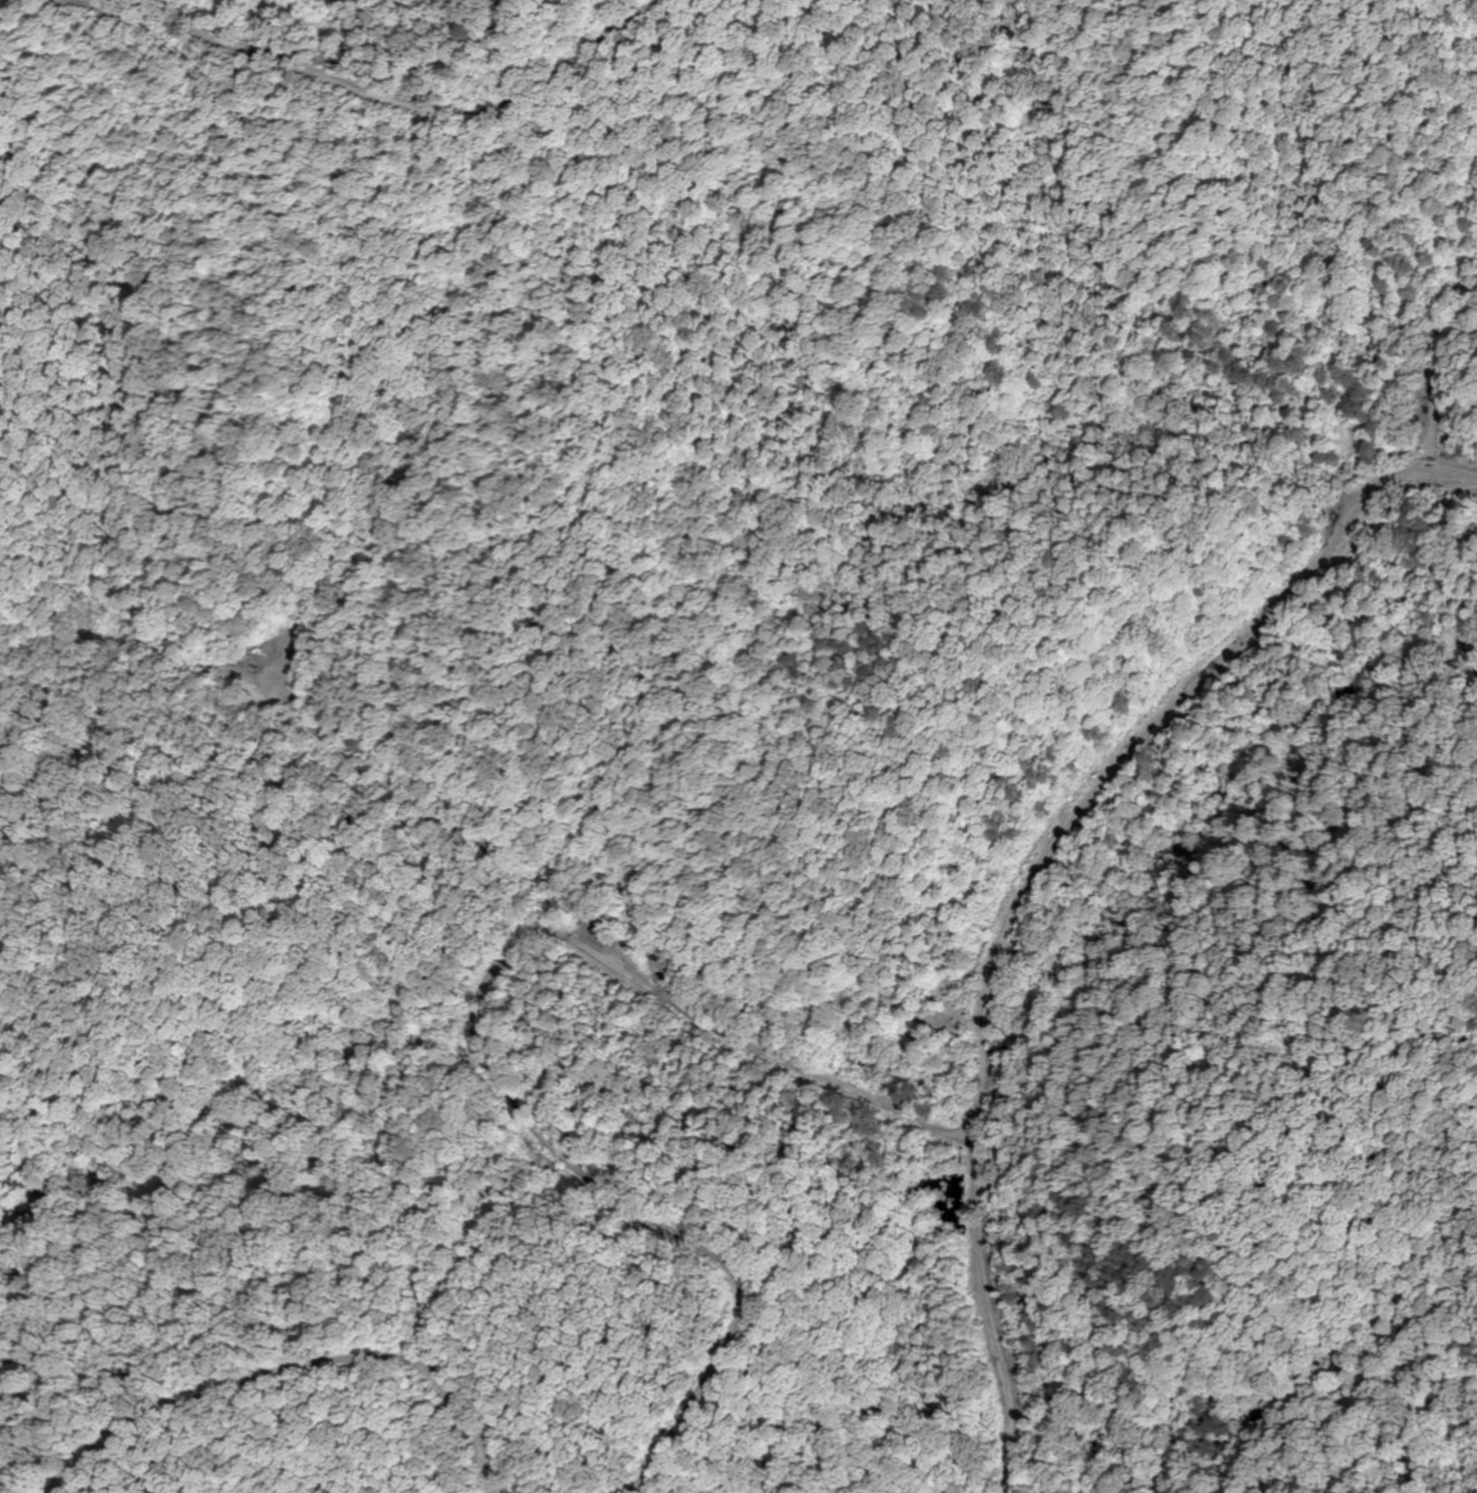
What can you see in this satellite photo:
road: (340, 95)

